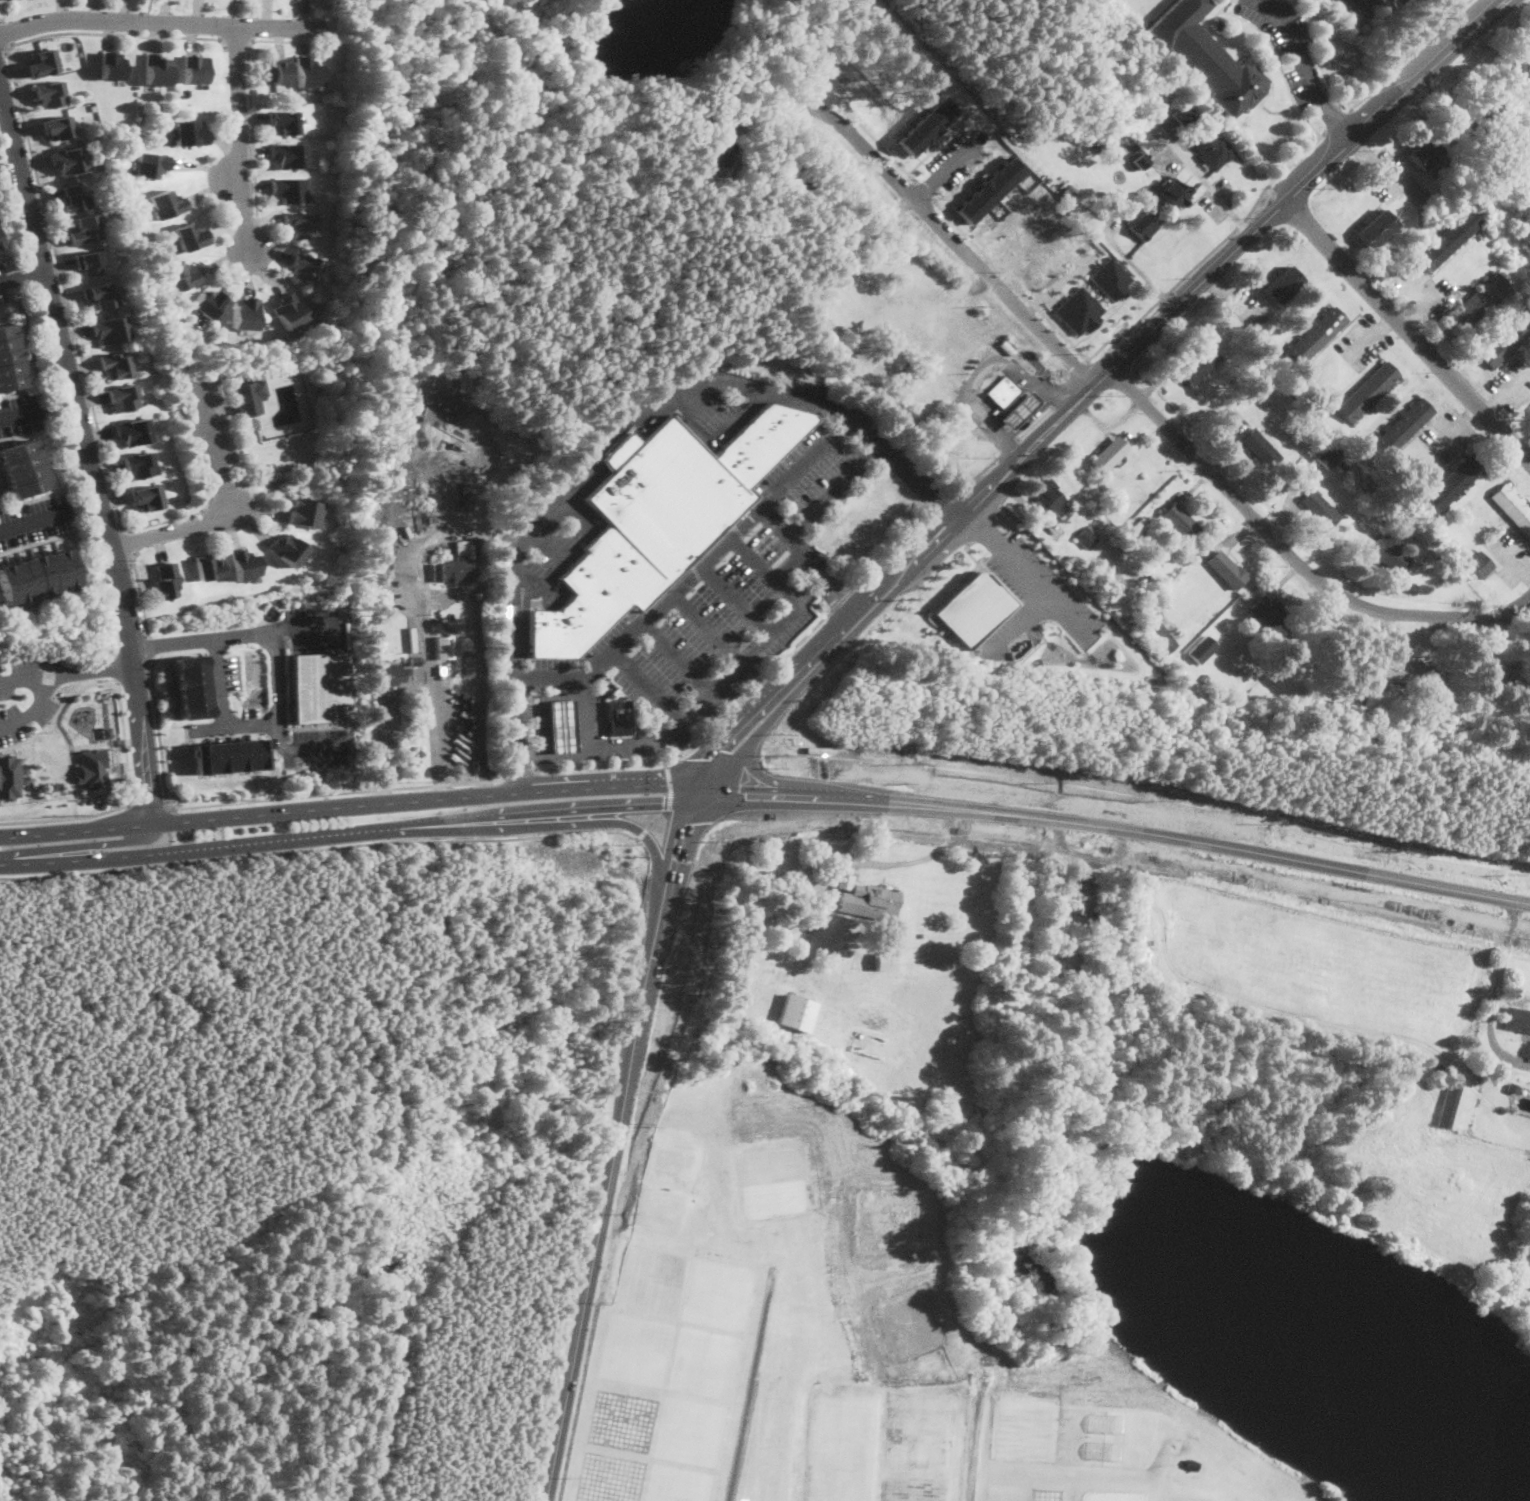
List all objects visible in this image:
building: (1367, 0)
building: (1378, 1)
road: (1232, 6)
road: (1362, 7)
road: (1220, 9)
road: (1, 19)
road: (160, 21)
building: (1216, 24)
road: (6, 31)
road: (236, 42)
parking lot: (1288, 42)
road: (1298, 44)
road: (3, 49)
building: (1103, 50)
road: (1408, 54)
building: (1206, 57)
building: (42, 63)
building: (112, 66)
building: (155, 69)
building: (195, 69)
building: (276, 71)
building: (307, 72)
building: (1521, 74)
road: (249, 91)
building: (50, 94)
building: (1513, 97)
road: (1294, 100)
building: (1183, 115)
building: (1484, 121)
building: (283, 122)
road: (1335, 122)
road: (1336, 122)
building: (1528, 124)
building: (925, 125)
road: (803, 126)
building: (58, 127)
building: (1100, 130)
building: (187, 133)
building: (1098, 139)
road: (239, 140)
road: (881, 143)
road: (937, 143)
building: (1214, 151)
building: (1424, 153)
building: (289, 154)
building: (711, 156)
road: (1375, 158)
building: (68, 160)
building: (1140, 160)
building: (149, 164)
road: (948, 166)
building: (1493, 171)
parking lot: (1387, 173)
building: (797, 183)
road: (1210, 186)
building: (989, 188)
building: (287, 189)
road: (925, 189)
building: (1069, 191)
building: (1175, 192)
building: (73, 198)
building: (128, 199)
building: (166, 204)
building: (301, 224)
building: (1141, 225)
building: (1376, 228)
road: (49, 229)
building: (85, 229)
building: (189, 237)
road: (953, 238)
building: (1450, 238)
building: (0, 245)
road: (4, 257)
building: (89, 262)
building: (304, 267)
road: (1192, 267)
road: (1140, 270)
road: (21, 275)
building: (180, 276)
building: (1111, 277)
road: (1010, 278)
building: (1282, 285)
road: (1051, 286)
parking lot: (1425, 290)
building: (99, 295)
building: (1477, 302)
building: (207, 303)
road: (1412, 306)
road: (15, 310)
building: (1079, 310)
building: (288, 311)
building: (244, 313)
road: (1103, 319)
building: (109, 329)
road: (1406, 333)
building: (1315, 336)
road: (1369, 336)
building: (1506, 339)
parking lot: (1362, 342)
building: (1006, 346)
road: (1100, 346)
building: (10, 359)
building: (1200, 364)
building: (115, 365)
road: (979, 366)
building: (1252, 371)
road: (1068, 382)
road: (1098, 382)
parking lot: (1512, 383)
building: (1268, 387)
building: (1003, 391)
building: (1368, 391)
road: (14, 392)
road: (1504, 392)
building: (121, 397)
building: (248, 397)
road: (1061, 403)
building: (1018, 409)
gas station: (1017, 410)
road: (20, 412)
road: (1034, 413)
road: (1034, 422)
building: (1401, 427)
road: (1455, 428)
building: (132, 431)
road: (617, 432)
parking lot: (1448, 434)
building: (762, 439)
road: (42, 441)
road: (715, 442)
road: (214, 445)
road: (1008, 446)
building: (1262, 449)
building: (1108, 454)
road: (89, 455)
building: (1329, 456)
building: (1342, 464)
building: (138, 465)
building: (22, 468)
building: (1349, 469)
road: (979, 472)
building: (1455, 482)
building: (464, 487)
building: (667, 495)
building: (146, 496)
building: (1051, 497)
road: (32, 498)
road: (943, 500)
building: (1513, 507)
building: (1320, 508)
building: (1391, 511)
building: (303, 512)
road: (579, 512)
road: (998, 515)
road: (33, 519)
building: (1404, 521)
building: (1178, 522)
road: (774, 523)
building: (1138, 525)
road: (797, 527)
road: (179, 528)
road: (983, 529)
building: (1087, 536)
road: (131, 540)
road: (37, 541)
building: (1148, 542)
road: (968, 544)
road: (897, 545)
building: (1367, 545)
building: (464, 546)
road: (551, 546)
building: (286, 549)
building: (1389, 554)
parking lot: (1508, 554)
road: (1292, 556)
road: (1513, 557)
building: (1475, 563)
building: (243, 564)
building: (480, 564)
building: (624, 565)
road: (787, 566)
building: (209, 568)
building: (455, 569)
building: (1227, 569)
road: (695, 572)
road: (764, 572)
road: (991, 574)
road: (1025, 574)
building: (37, 575)
road: (532, 579)
building: (165, 580)
building: (594, 587)
road: (139, 590)
building: (483, 594)
road: (846, 594)
road: (39, 600)
road: (736, 600)
parking lot: (1033, 601)
building: (974, 606)
building: (1272, 614)
building: (451, 616)
road: (1025, 622)
building: (563, 628)
road: (706, 629)
road: (244, 633)
building: (1158, 633)
road: (217, 639)
road: (112, 640)
road: (149, 646)
building: (444, 647)
road: (432, 649)
building: (471, 649)
building: (1202, 649)
road: (174, 650)
road: (677, 658)
building: (414, 659)
road: (115, 667)
road: (733, 671)
building: (1400, 671)
road: (67, 672)
building: (389, 675)
building: (1500, 678)
building: (1204, 680)
building: (191, 686)
road: (275, 686)
road: (649, 686)
building: (686, 686)
building: (320, 687)
road: (53, 695)
road: (33, 707)
road: (57, 708)
building: (1449, 708)
road: (587, 717)
building: (618, 717)
road: (233, 725)
building: (561, 726)
building: (107, 731)
road: (159, 734)
road: (703, 737)
road: (99, 741)
road: (124, 741)
road: (22, 747)
traffic signals: (735, 747)
road: (531, 754)
building: (229, 755)
road: (571, 756)
road: (724, 758)
road: (69, 765)
building: (92, 767)
road: (520, 772)
road: (34, 773)
building: (8, 776)
road: (325, 779)
building: (55, 785)
traffic signals: (772, 787)
road: (337, 791)
road: (758, 792)
road: (430, 798)
road: (147, 801)
road: (1152, 801)
traffic signals: (652, 808)
traffic signals: (765, 808)
road: (65, 816)
road: (1123, 816)
road: (657, 820)
road: (574, 822)
road: (75, 831)
road: (349, 831)
traffic signals: (689, 835)
road: (168, 836)
road: (1118, 837)
road: (85, 845)
road: (333, 846)
road: (684, 851)
road: (1127, 857)
road: (915, 859)
building: (867, 898)
building: (1078, 900)
building: (1095, 914)
building: (921, 935)
building: (885, 961)
building: (1052, 973)
road: (1491, 1002)
building: (796, 1012)
building: (1517, 1019)
building: (1513, 1087)
building: (1449, 1102)
road: (602, 1209)
crop: (1016, 1323)
road: (743, 1410)
road: (972, 1449)
building: (1188, 1465)
building: (1325, 1495)
building: (1333, 1500)

